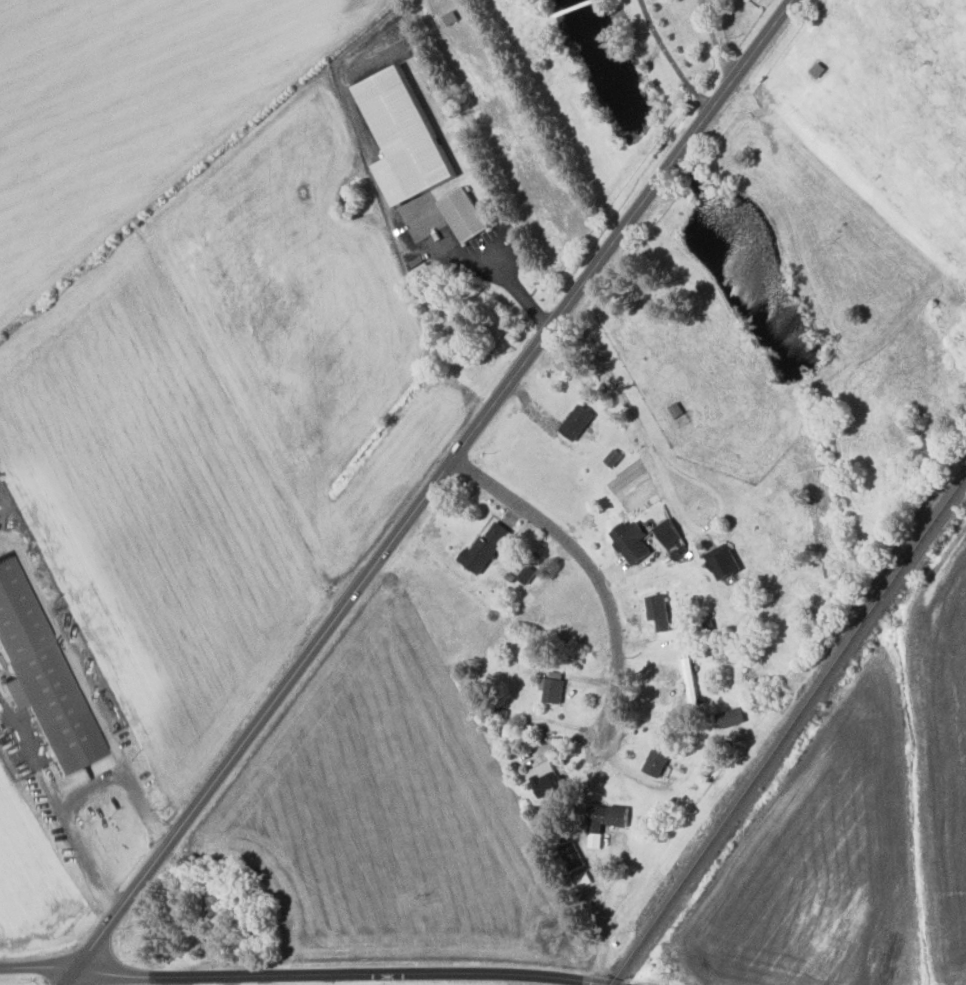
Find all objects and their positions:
road: (714, 42)
road: (669, 59)
building: (401, 137)
building: (462, 215)
road: (518, 292)
building: (575, 420)
road: (660, 458)
road: (429, 492)
building: (667, 531)
building: (629, 540)
building: (483, 547)
building: (721, 560)
road: (586, 567)
building: (525, 573)
building: (657, 610)
building: (39, 673)
building: (551, 686)
building: (729, 716)
railway: (788, 730)
building: (655, 762)
building: (543, 777)
road: (79, 791)
building: (603, 820)
building: (571, 854)
road: (302, 978)

